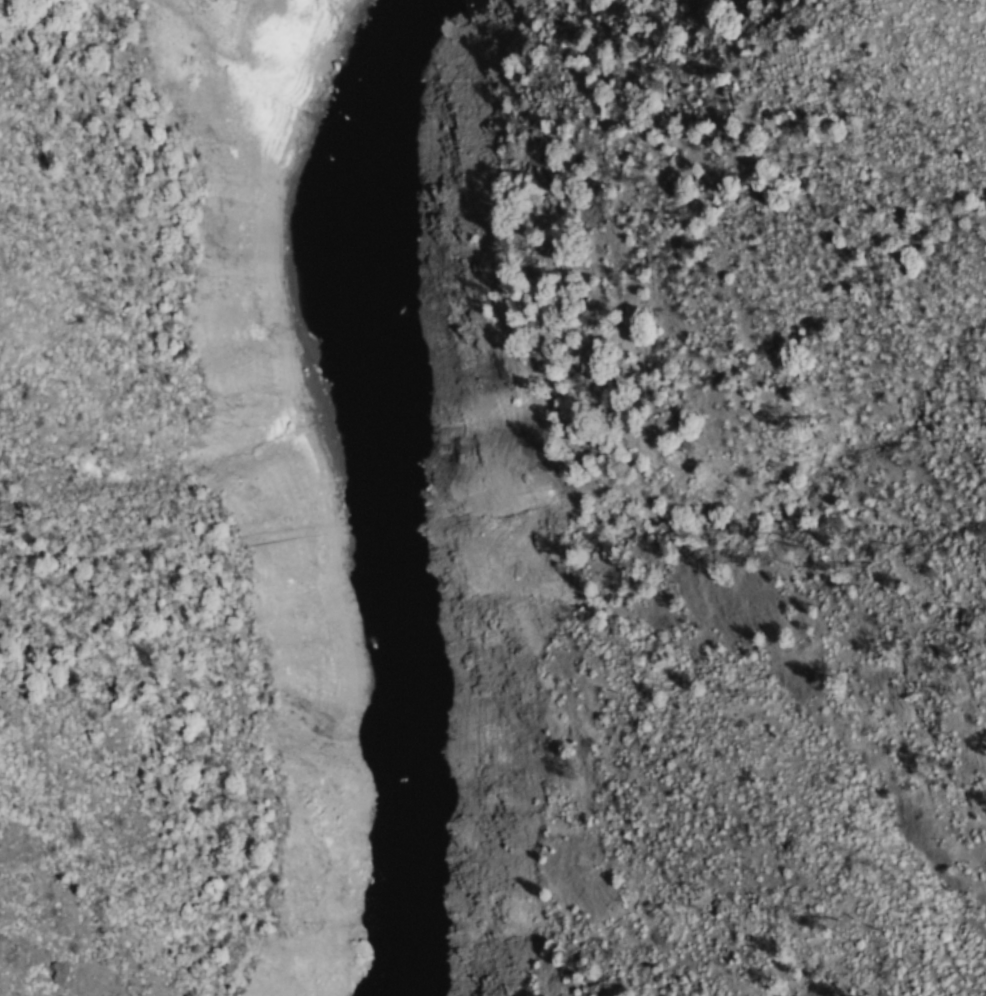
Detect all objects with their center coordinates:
river: (357, 493)

